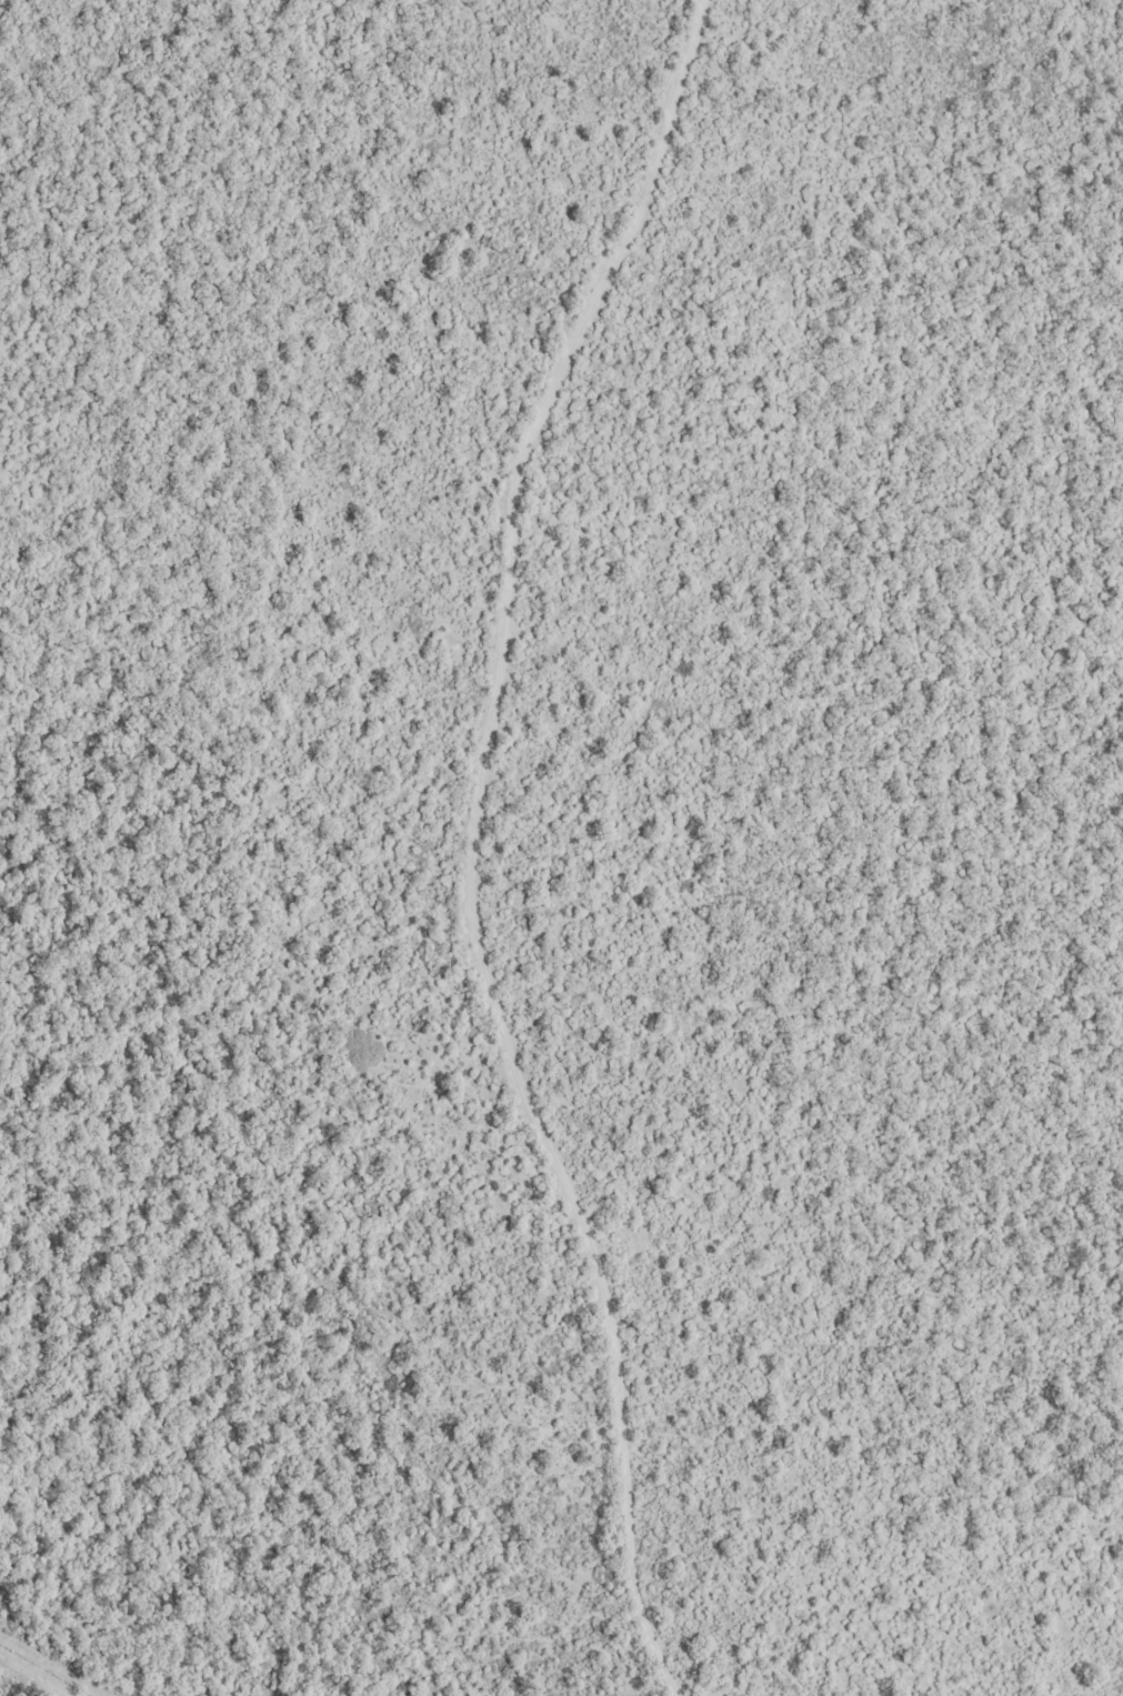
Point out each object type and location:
road: (178, 150)
road: (481, 845)

